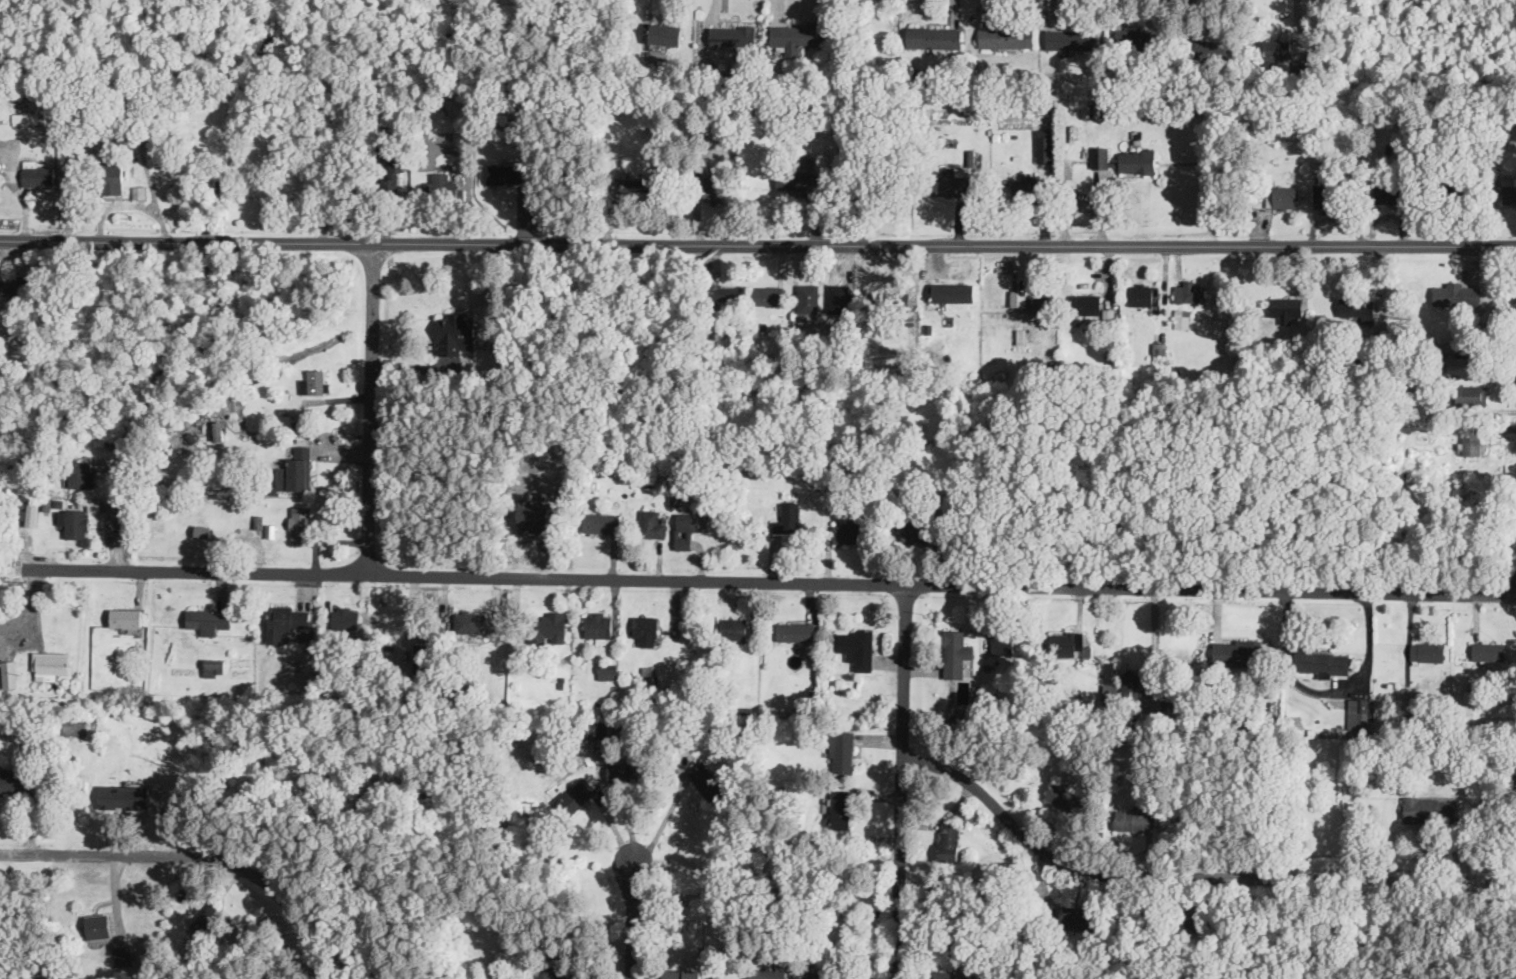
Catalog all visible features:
building: (658, 18)
building: (665, 33)
building: (733, 34)
building: (1006, 36)
building: (798, 37)
building: (931, 37)
building: (1072, 38)
building: (1137, 39)
building: (1209, 49)
building: (1277, 49)
building: (26, 117)
building: (1045, 144)
building: (1101, 157)
building: (1138, 160)
building: (394, 170)
building: (505, 173)
building: (37, 174)
building: (111, 174)
building: (795, 179)
building: (441, 182)
building: (950, 182)
building: (1456, 183)
building: (1026, 186)
building: (712, 189)
building: (1508, 190)
building: (1392, 191)
building: (1282, 196)
building: (1323, 196)
road: (757, 242)
building: (15, 282)
building: (1189, 290)
building: (954, 292)
building: (1456, 293)
building: (768, 294)
building: (1145, 294)
building: (725, 295)
building: (808, 300)
building: (892, 301)
building: (839, 302)
building: (1031, 302)
building: (1087, 304)
building: (1286, 307)
building: (1356, 308)
building: (1182, 318)
building: (456, 332)
building: (1160, 350)
building: (315, 381)
building: (1471, 394)
road: (370, 407)
building: (1474, 442)
building: (102, 463)
building: (296, 469)
building: (81, 473)
building: (536, 513)
building: (32, 514)
building: (789, 518)
road: (118, 519)
building: (601, 521)
building: (77, 522)
building: (652, 523)
building: (300, 524)
building: (689, 527)
building: (916, 529)
building: (202, 530)
building: (846, 533)
road: (770, 581)
building: (346, 617)
building: (127, 618)
building: (209, 619)
building: (286, 620)
building: (470, 621)
building: (599, 626)
building: (549, 627)
building: (734, 627)
building: (646, 630)
building: (796, 630)
building: (1067, 642)
building: (1002, 643)
building: (856, 645)
building: (1427, 650)
building: (1489, 650)
building: (956, 652)
building: (1236, 652)
building: (426, 653)
building: (1323, 661)
building: (53, 664)
building: (214, 666)
building: (608, 670)
building: (10, 673)
building: (649, 678)
building: (1110, 680)
building: (1131, 683)
road: (1326, 691)
building: (1170, 700)
building: (1358, 712)
building: (74, 727)
building: (596, 728)
building: (842, 751)
building: (626, 771)
building: (707, 779)
building: (8, 780)
road: (900, 781)
building: (577, 795)
building: (113, 796)
building: (1065, 797)
building: (841, 808)
building: (1428, 808)
building: (1136, 818)
road: (662, 823)
building: (948, 841)
road: (194, 854)
road: (1190, 872)
building: (1076, 916)
road: (631, 920)
building: (210, 921)
building: (1191, 924)
building: (98, 925)
building: (124, 955)
building: (556, 970)
building: (681, 974)
building: (765, 974)
building: (947, 974)
building: (824, 975)

